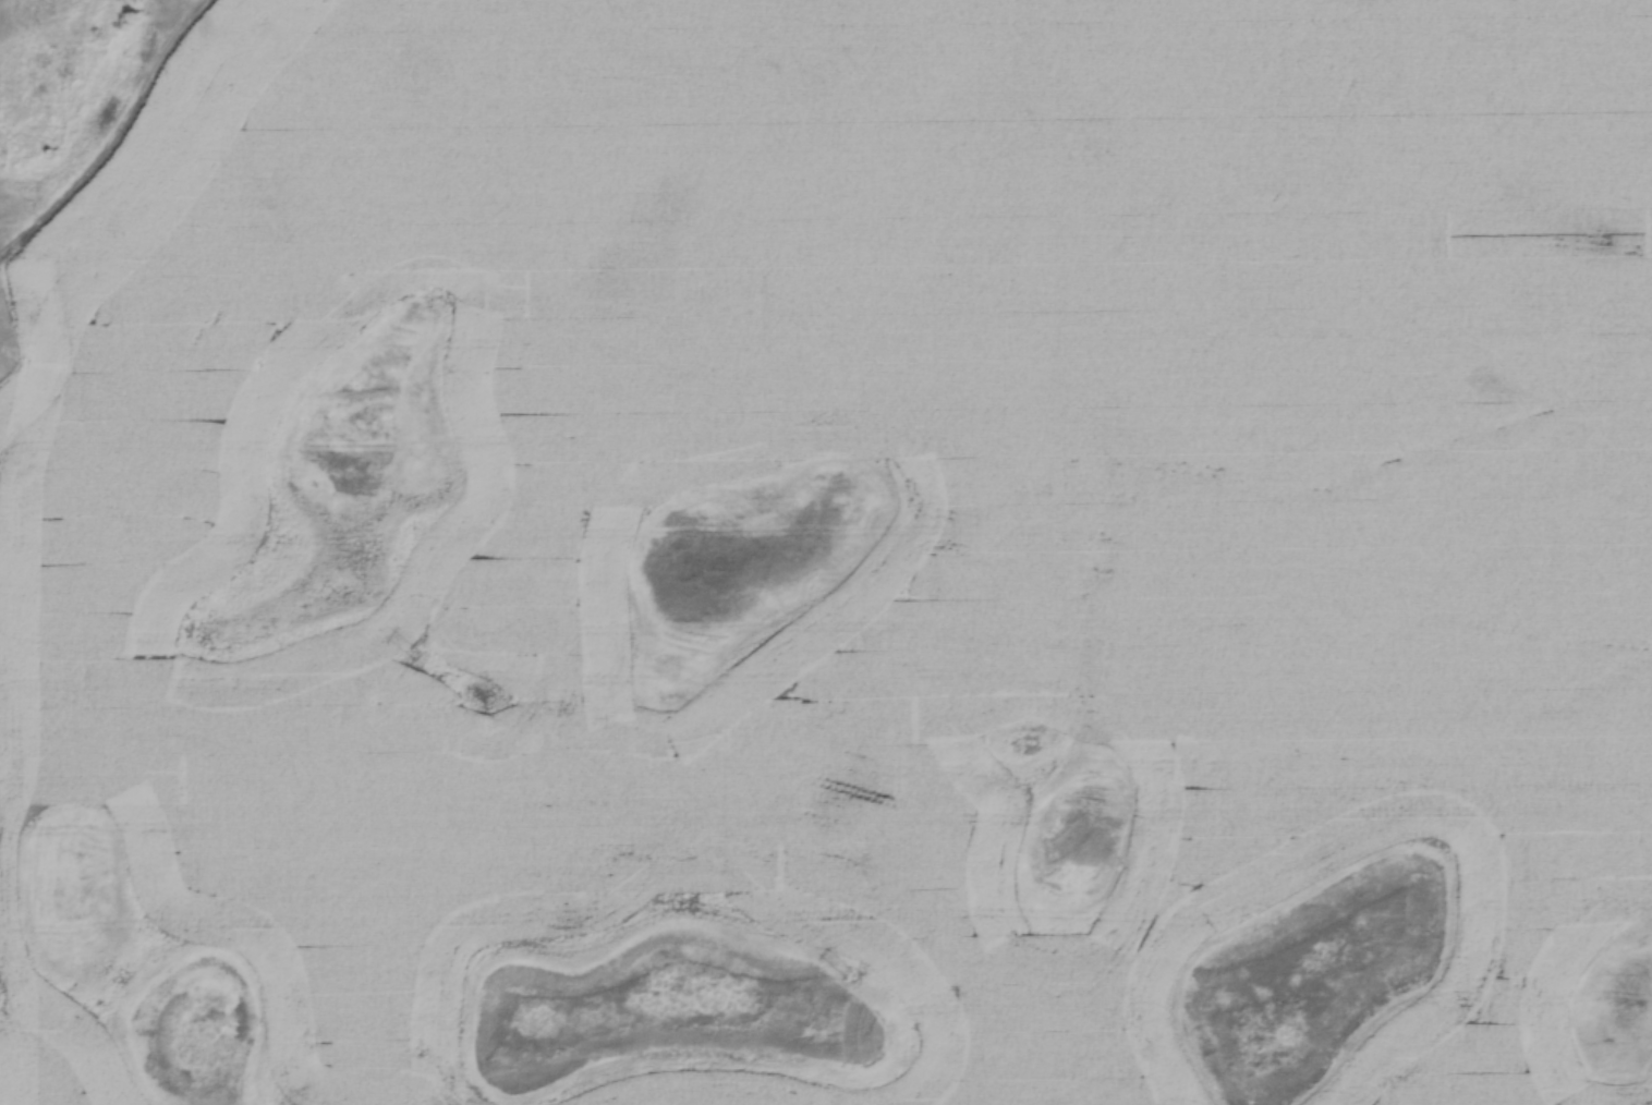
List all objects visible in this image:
river: (92, 109)
power tower: (412, 651)
power tower: (848, 972)

